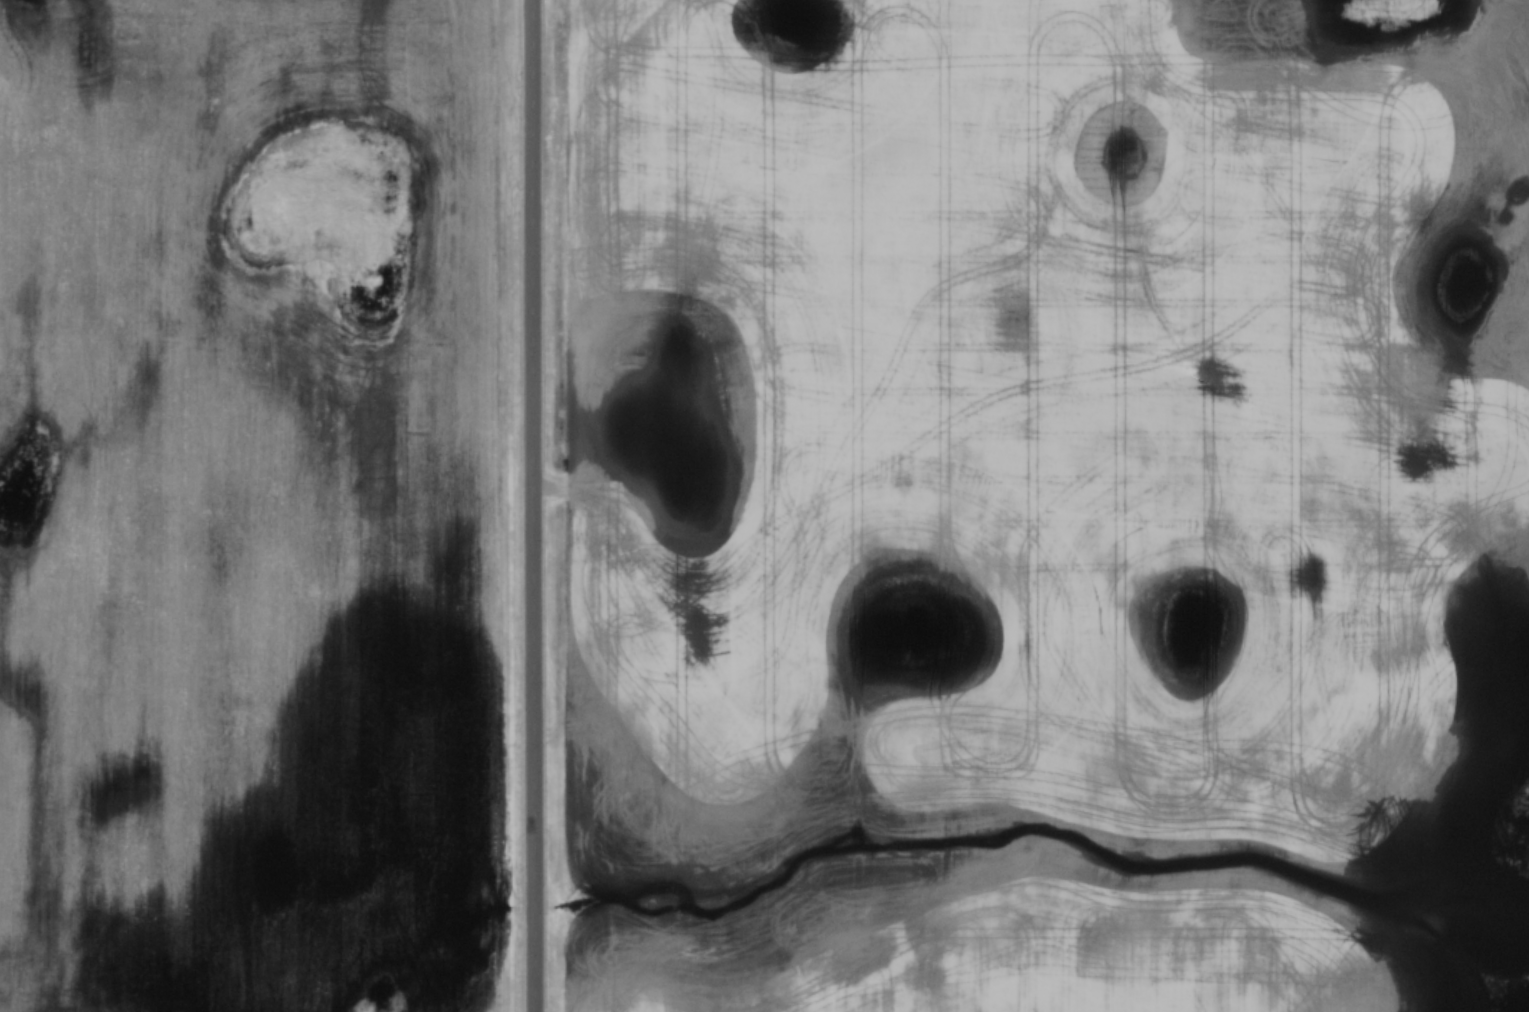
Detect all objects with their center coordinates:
road: (534, 505)

